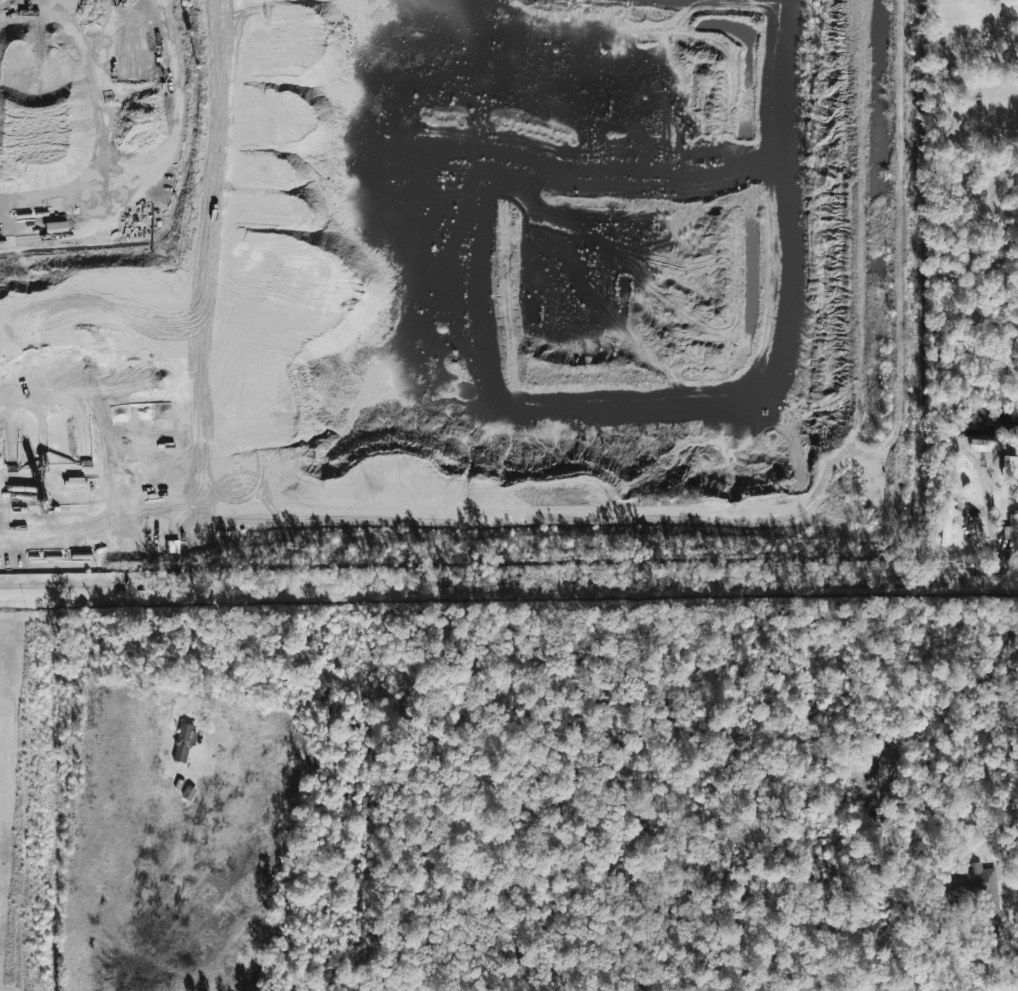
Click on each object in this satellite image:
building: (1012, 464)
road: (982, 486)
road: (980, 510)
building: (944, 522)
building: (1012, 534)
road: (508, 587)
road: (206, 662)
building: (183, 743)
building: (885, 764)
building: (984, 884)

